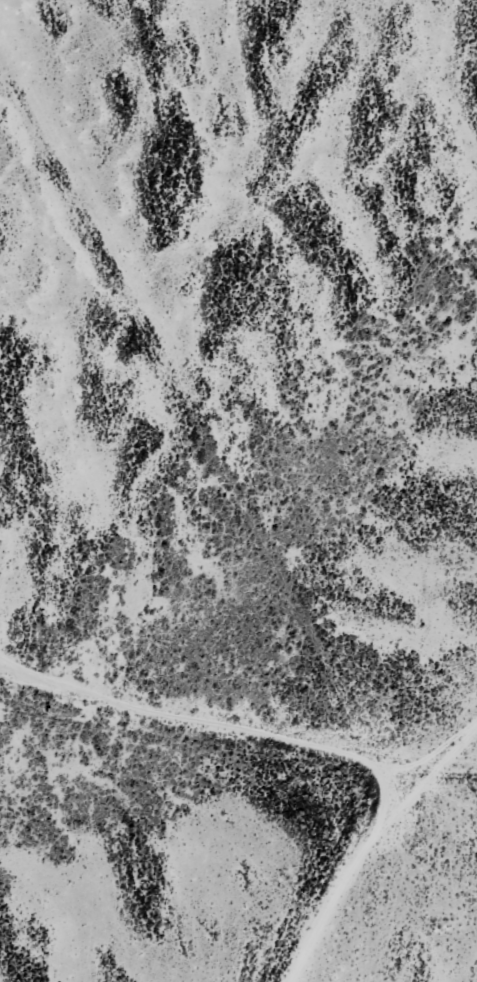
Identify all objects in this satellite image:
road: (466, 753)
road: (236, 761)

